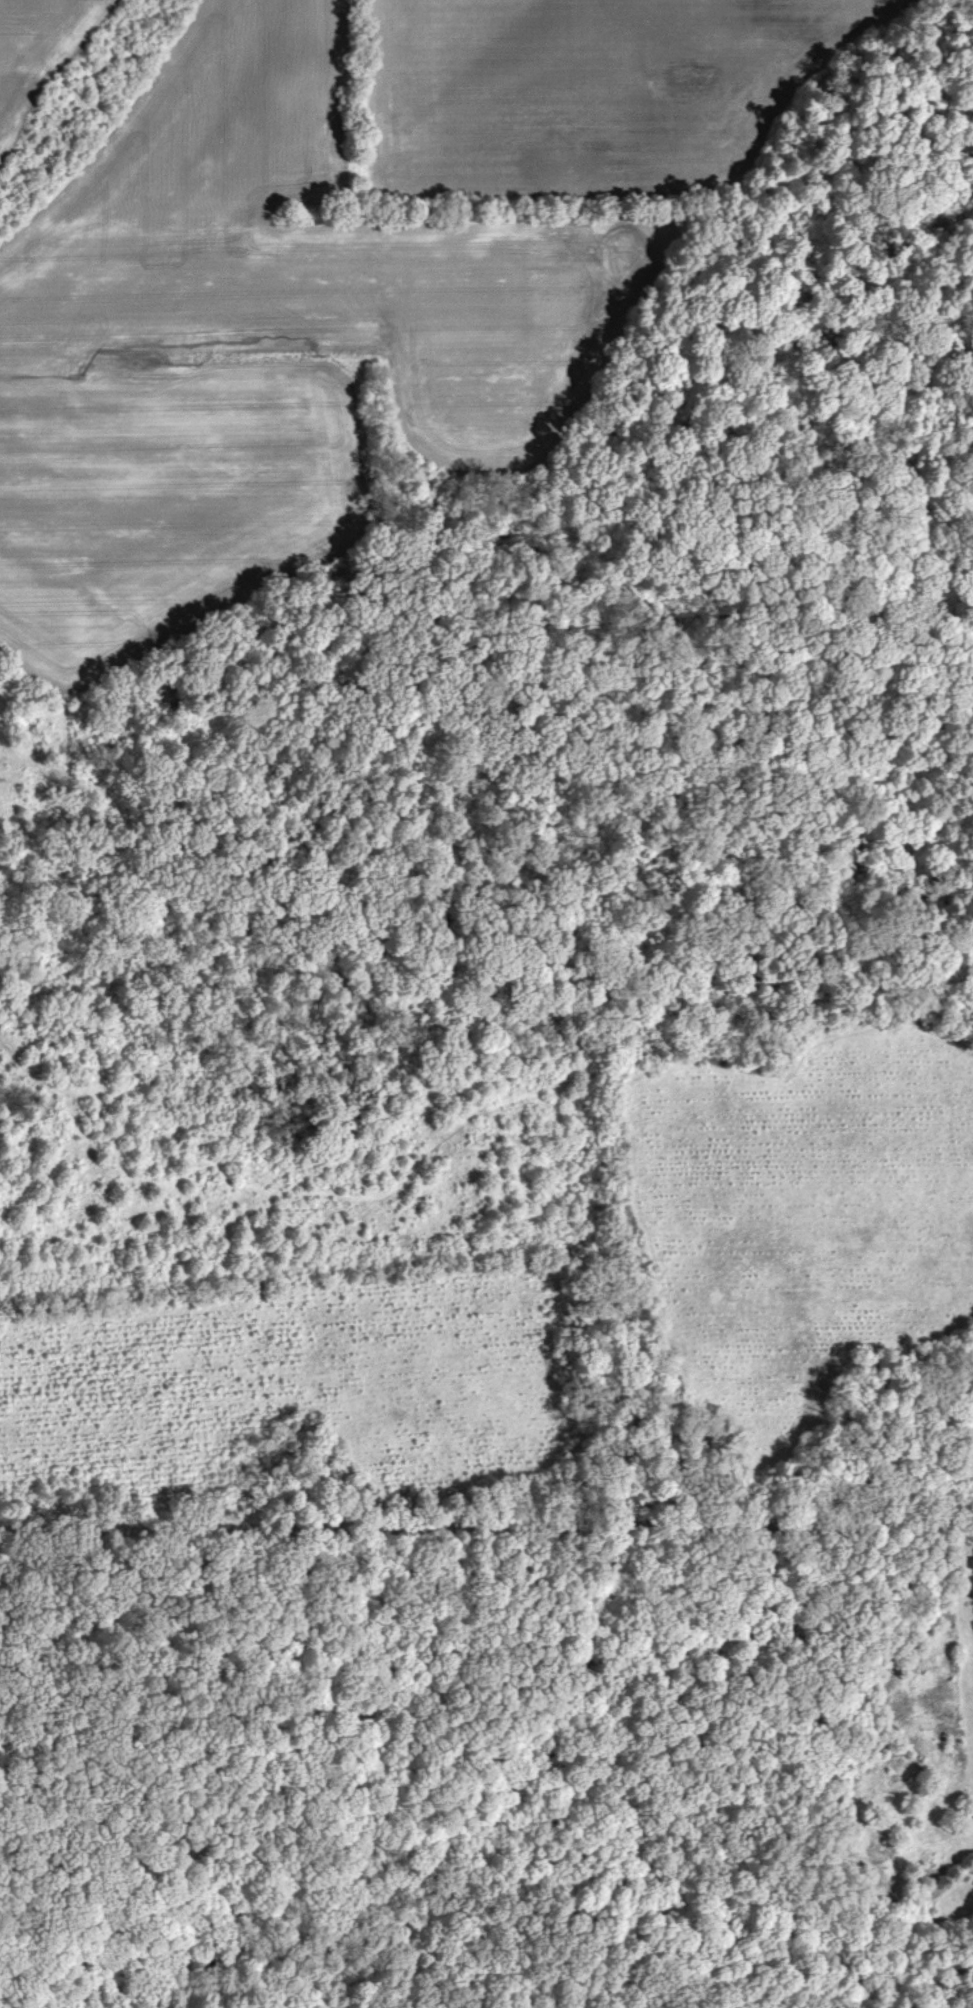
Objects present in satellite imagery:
road: (8, 752)
road: (486, 1515)

